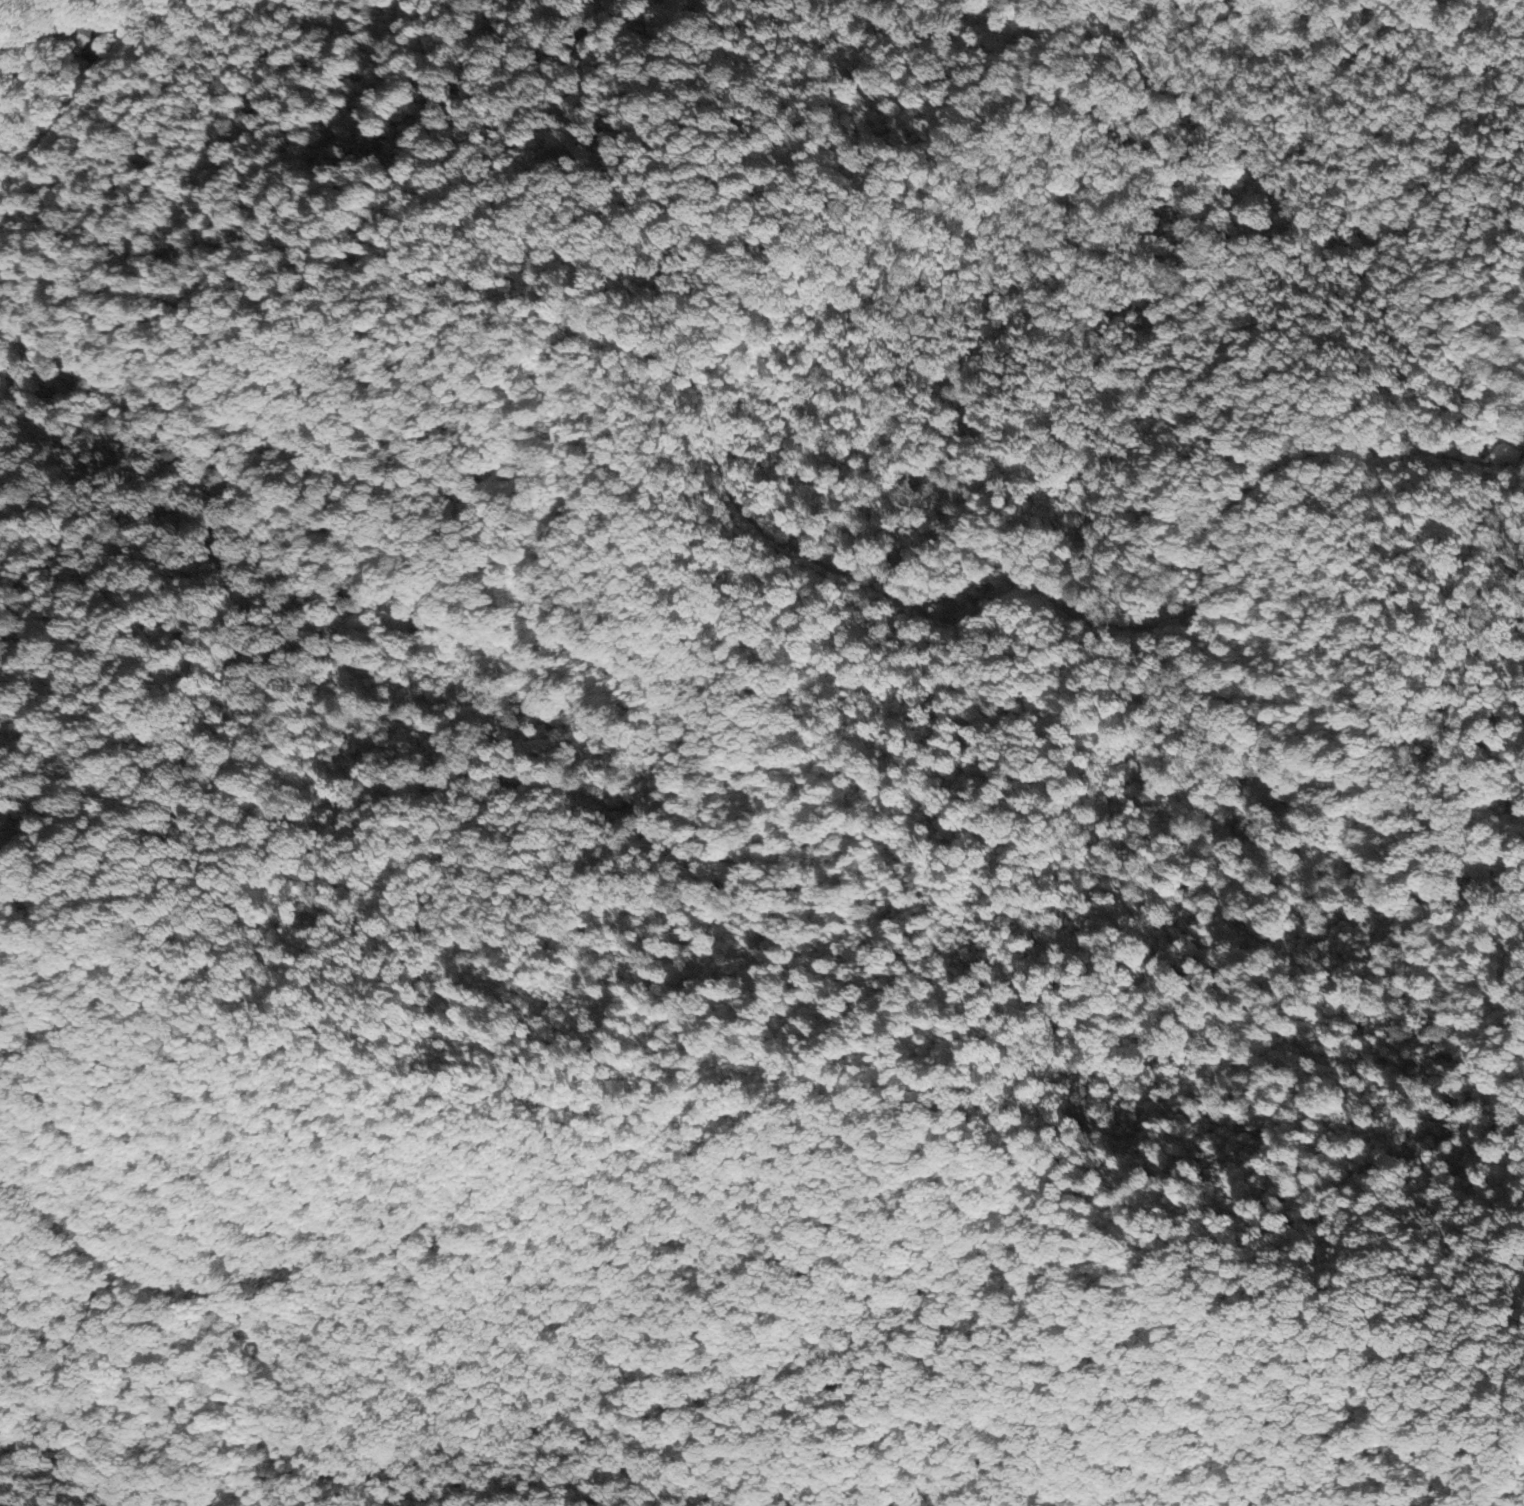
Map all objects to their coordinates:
road: (557, 351)
road: (199, 1313)

